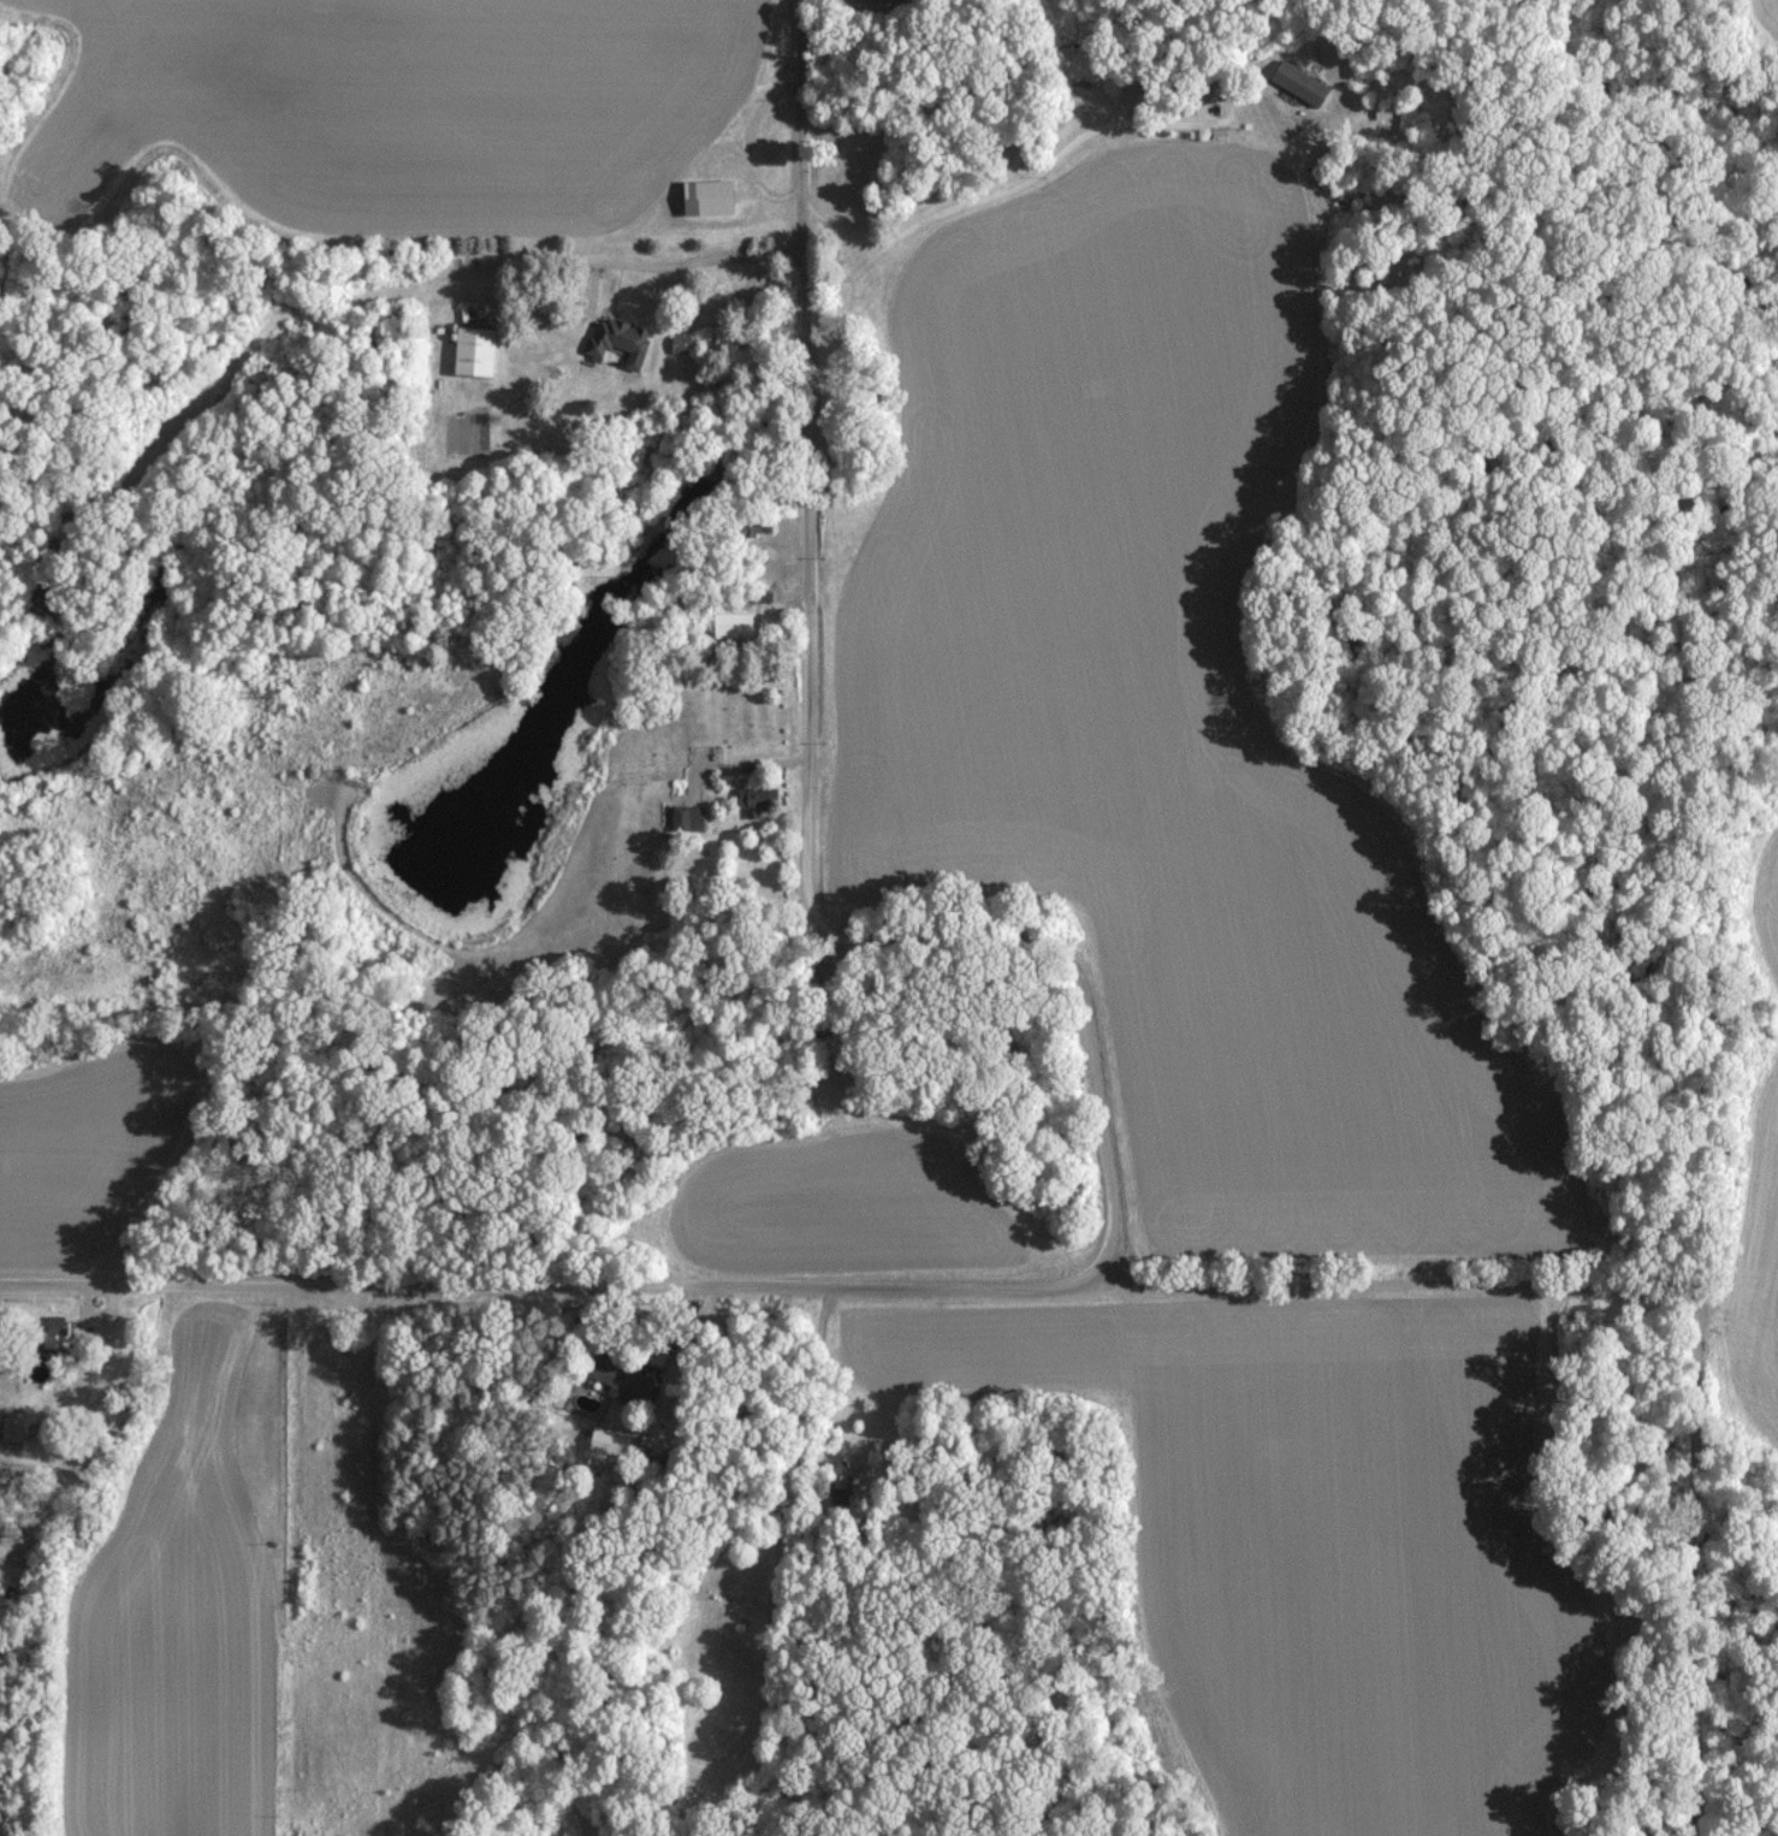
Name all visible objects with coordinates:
building: (1304, 82)
road: (1018, 186)
building: (715, 196)
road: (629, 262)
building: (622, 339)
building: (683, 342)
building: (479, 350)
building: (737, 624)
road: (806, 757)
building: (761, 798)
building: (689, 817)
road: (835, 1293)
building: (614, 1439)
road: (832, 1575)

